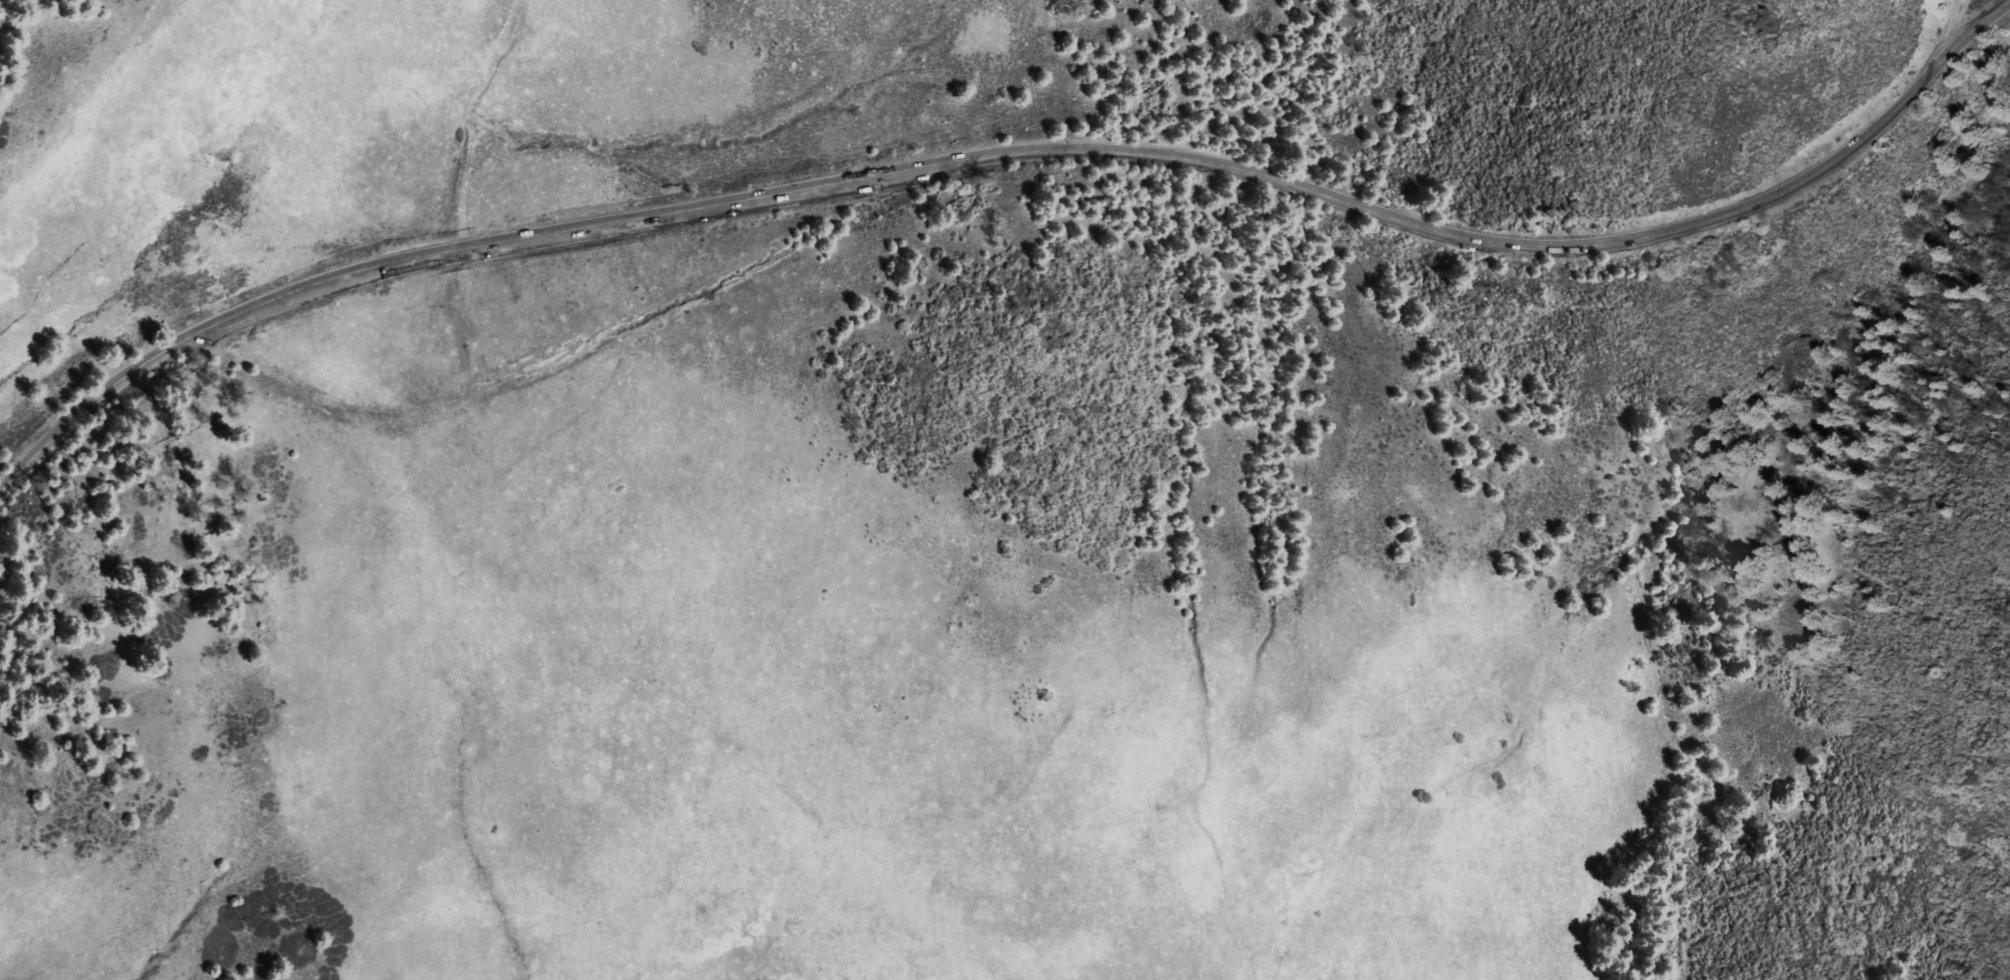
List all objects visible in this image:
road: (1954, 28)
road: (1009, 156)

